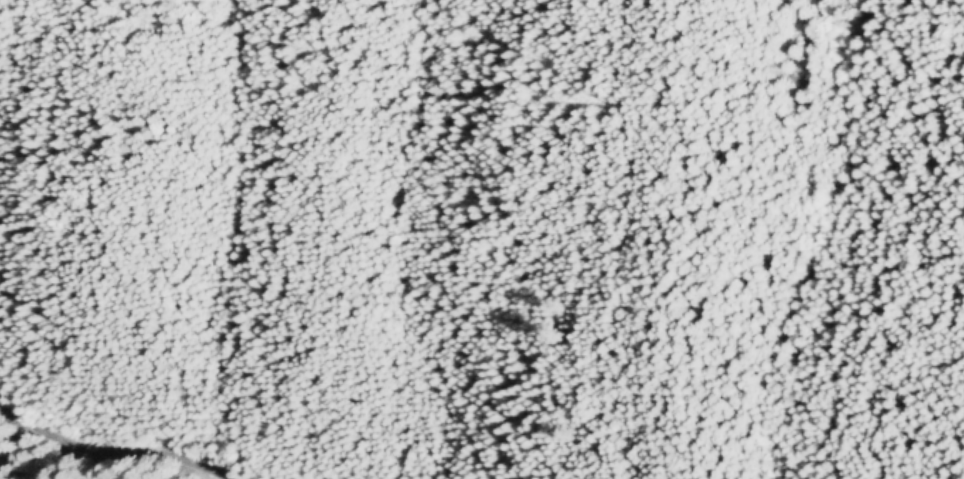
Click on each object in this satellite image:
road: (87, 452)

